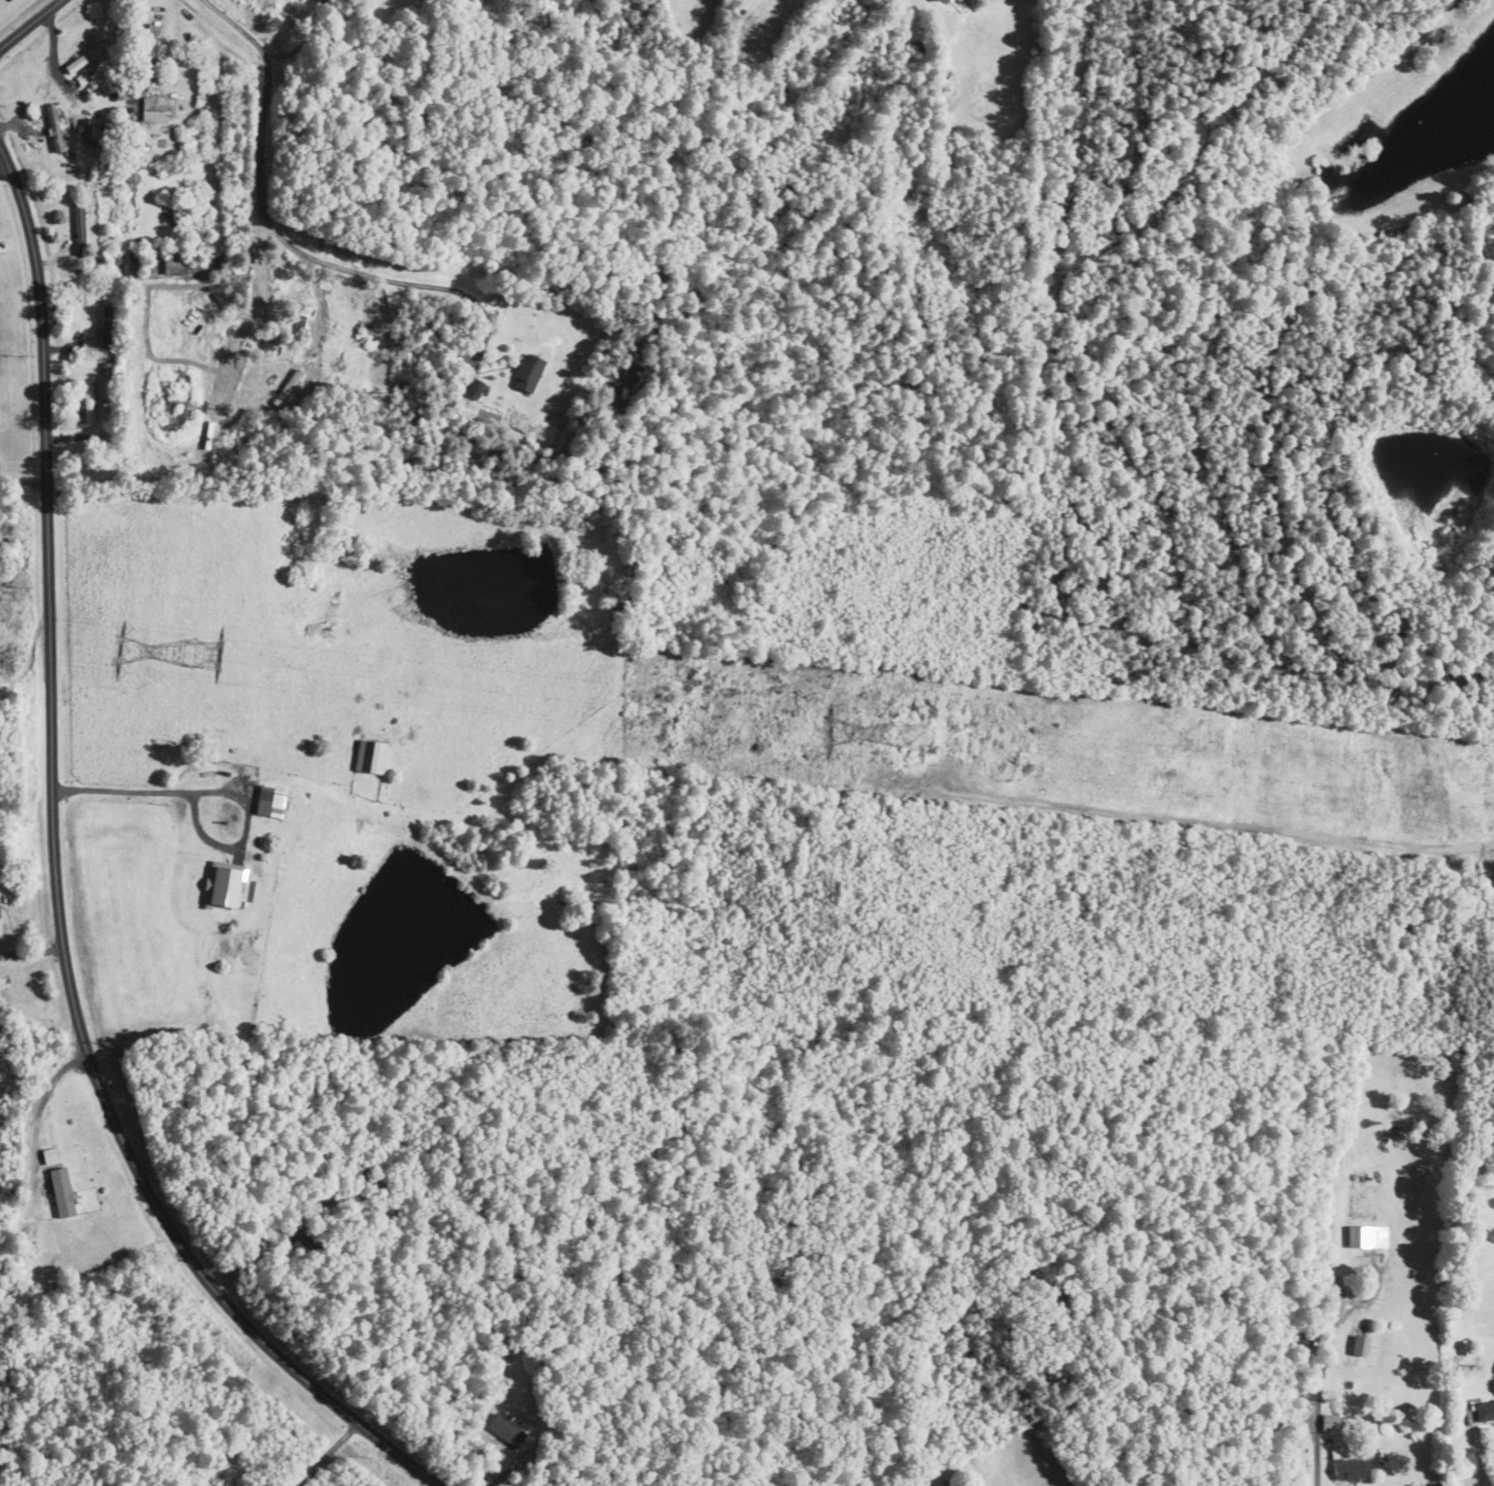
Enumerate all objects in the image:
road: (30, 23)
road: (53, 53)
road: (279, 55)
building: (153, 109)
building: (52, 119)
road: (1, 158)
building: (78, 225)
road: (306, 255)
building: (174, 267)
building: (105, 319)
building: (527, 373)
building: (472, 389)
building: (88, 402)
road: (22, 480)
power tower: (212, 653)
power tower: (910, 737)
building: (375, 756)
road: (151, 791)
building: (269, 800)
building: (227, 884)
road: (53, 885)
road: (45, 1098)
building: (61, 1192)
building: (1367, 1236)
building: (1361, 1345)
building: (1485, 1411)
building: (1330, 1422)
building: (506, 1430)
road: (1477, 1445)
road: (328, 1454)
road: (1317, 1455)
building: (1346, 1466)

